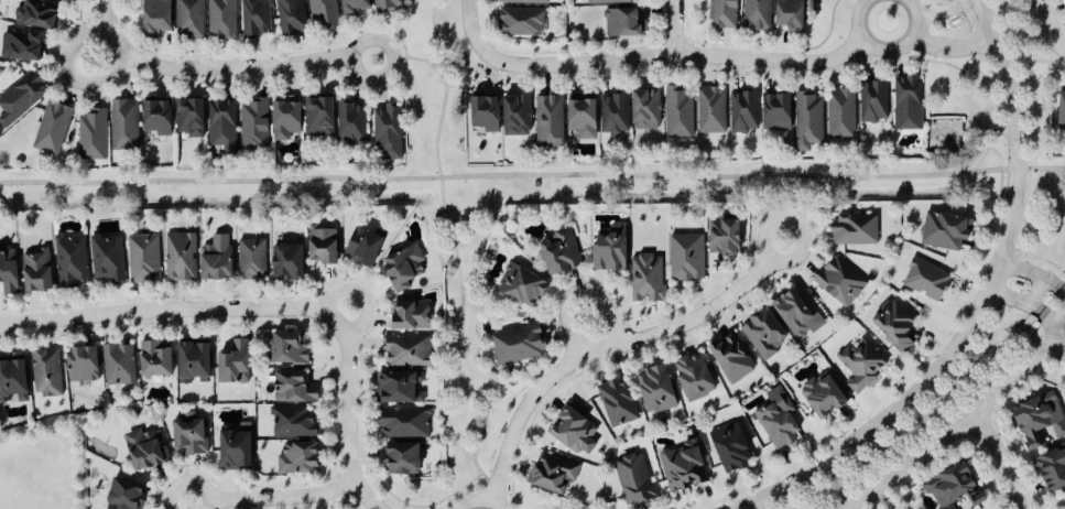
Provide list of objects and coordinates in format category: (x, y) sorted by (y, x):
building: (72, 0)
building: (525, 2)
building: (609, 2)
building: (387, 6)
building: (356, 7)
building: (323, 13)
building: (724, 13)
building: (37, 14)
building: (757, 15)
building: (792, 15)
building: (157, 17)
building: (291, 17)
building: (189, 19)
building: (256, 19)
building: (221, 20)
building: (522, 22)
road: (471, 24)
building: (623, 24)
road: (1047, 26)
road: (673, 28)
building: (22, 46)
road: (953, 47)
road: (887, 52)
road: (671, 55)
road: (220, 68)
road: (70, 76)
road: (444, 87)
building: (21, 98)
building: (873, 102)
building: (908, 105)
building: (648, 110)
building: (711, 111)
building: (779, 111)
building: (745, 112)
building: (1063, 112)
building: (678, 113)
building: (487, 115)
building: (615, 115)
building: (841, 115)
building: (518, 117)
building: (160, 118)
building: (192, 118)
building: (287, 118)
building: (320, 118)
building: (584, 118)
building: (808, 121)
building: (550, 122)
building: (352, 123)
building: (224, 124)
building: (124, 126)
building: (256, 126)
building: (53, 128)
building: (388, 133)
building: (93, 137)
road: (532, 176)
building: (856, 229)
building: (945, 230)
building: (725, 236)
building: (325, 245)
building: (365, 246)
building: (611, 248)
building: (562, 252)
building: (181, 257)
building: (687, 257)
building: (143, 258)
building: (218, 258)
building: (107, 259)
building: (252, 259)
building: (72, 260)
building: (290, 261)
building: (405, 267)
building: (9, 271)
building: (39, 271)
road: (1032, 274)
building: (648, 278)
building: (926, 279)
building: (840, 281)
building: (523, 284)
road: (1062, 292)
road: (582, 297)
road: (1018, 302)
road: (985, 305)
road: (278, 311)
building: (796, 313)
building: (412, 315)
road: (1051, 317)
building: (895, 324)
road: (1057, 331)
building: (765, 333)
building: (519, 343)
building: (291, 347)
road: (611, 348)
building: (407, 350)
building: (731, 358)
building: (195, 361)
building: (236, 361)
building: (119, 364)
building: (84, 365)
building: (861, 365)
building: (46, 372)
building: (695, 376)
building: (14, 379)
building: (295, 387)
building: (399, 387)
building: (658, 389)
building: (824, 394)
building: (617, 402)
building: (778, 419)
building: (1042, 420)
building: (294, 422)
building: (404, 422)
road: (957, 426)
building: (574, 430)
building: (189, 434)
building: (732, 446)
building: (146, 448)
building: (237, 450)
building: (298, 458)
building: (403, 458)
road: (1000, 458)
park: (43, 464)
building: (684, 466)
building: (1053, 467)
building: (554, 473)
building: (634, 479)
building: (955, 487)
building: (127, 495)
road: (274, 499)
road: (480, 501)

